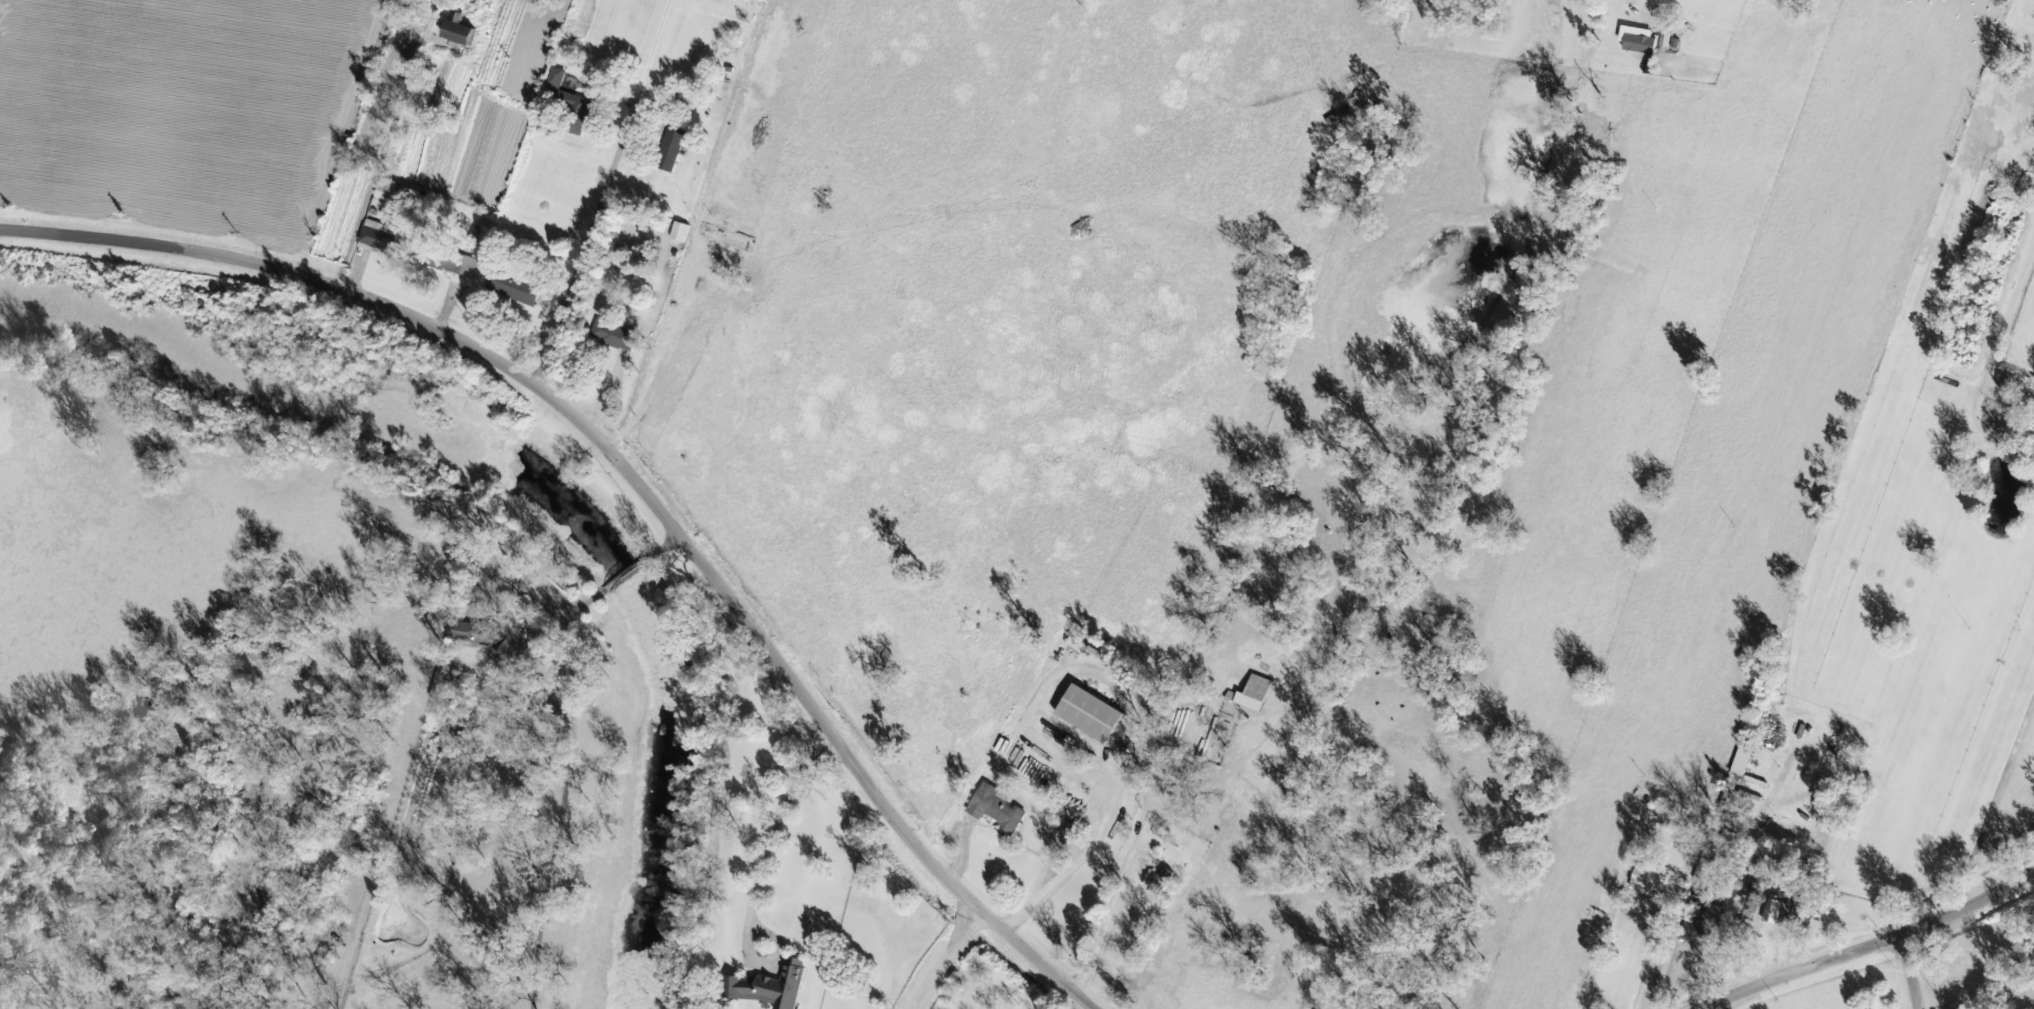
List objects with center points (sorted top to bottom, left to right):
building: (460, 33)
building: (1640, 40)
building: (689, 102)
building: (572, 104)
building: (672, 149)
road: (378, 162)
building: (388, 190)
road: (605, 193)
building: (381, 237)
building: (455, 264)
building: (515, 290)
building: (615, 337)
road: (633, 480)
road: (665, 544)
road: (625, 573)
building: (445, 675)
building: (1257, 693)
building: (1092, 714)
road: (1136, 724)
building: (1744, 762)
road: (562, 793)
building: (998, 810)
road: (757, 881)
building: (1648, 882)
building: (1716, 913)
road: (1109, 928)
road: (1871, 944)
road: (947, 958)
road: (1909, 971)
building: (771, 987)

